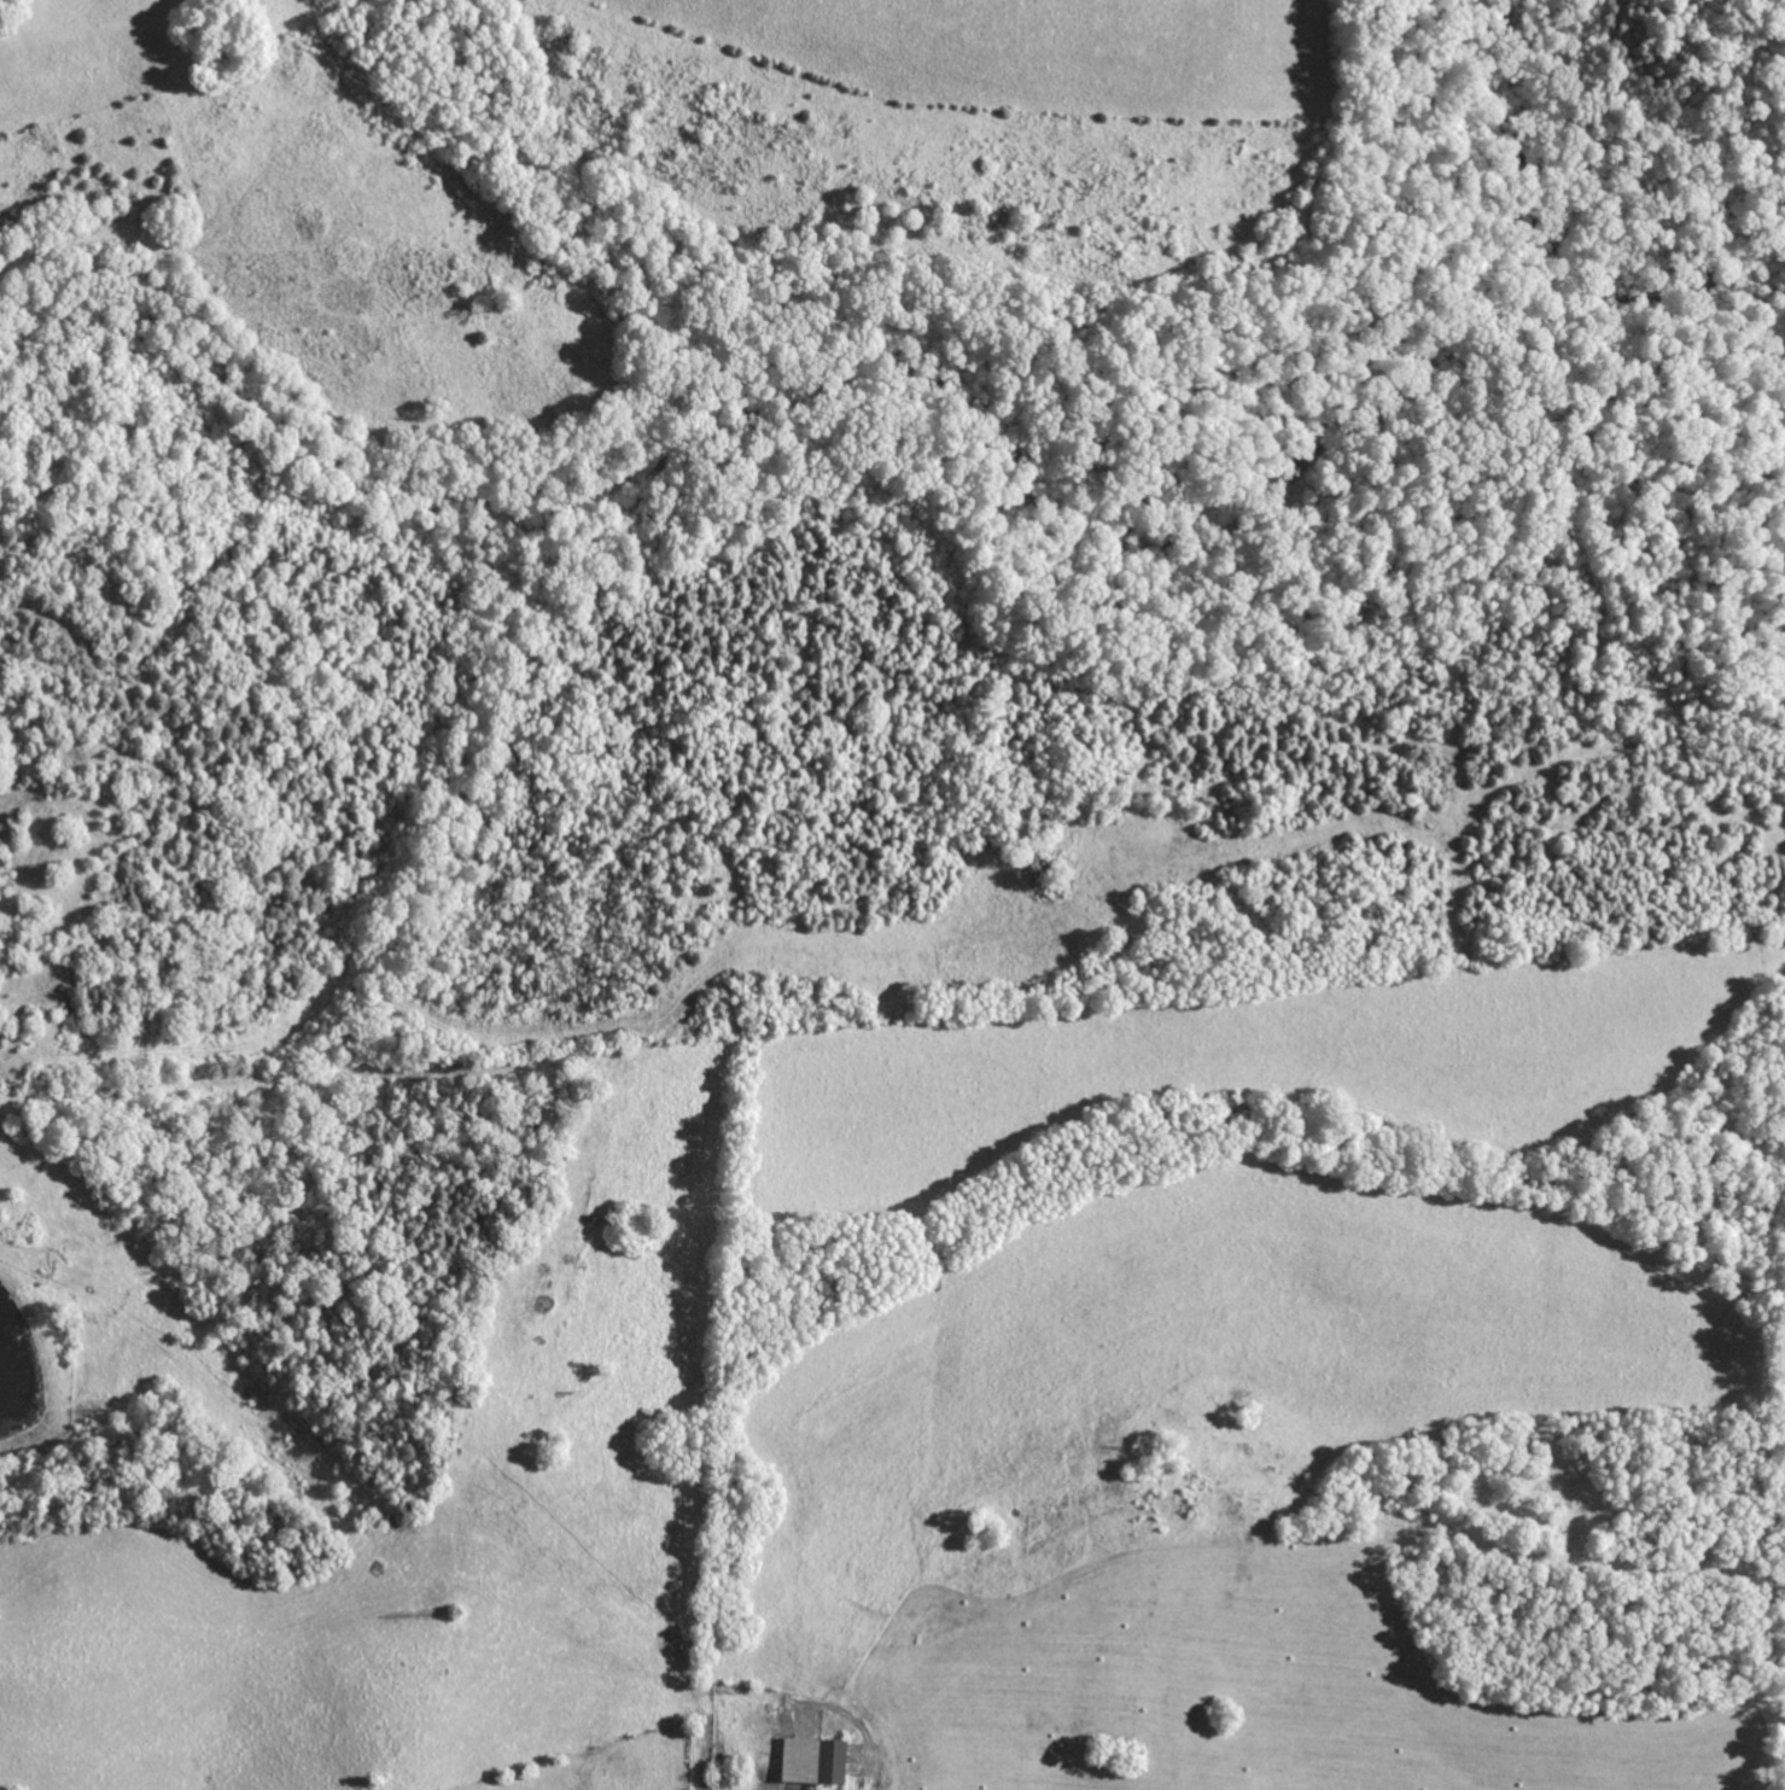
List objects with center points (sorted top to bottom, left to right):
power tower: (456, 1611)
building: (834, 1763)

